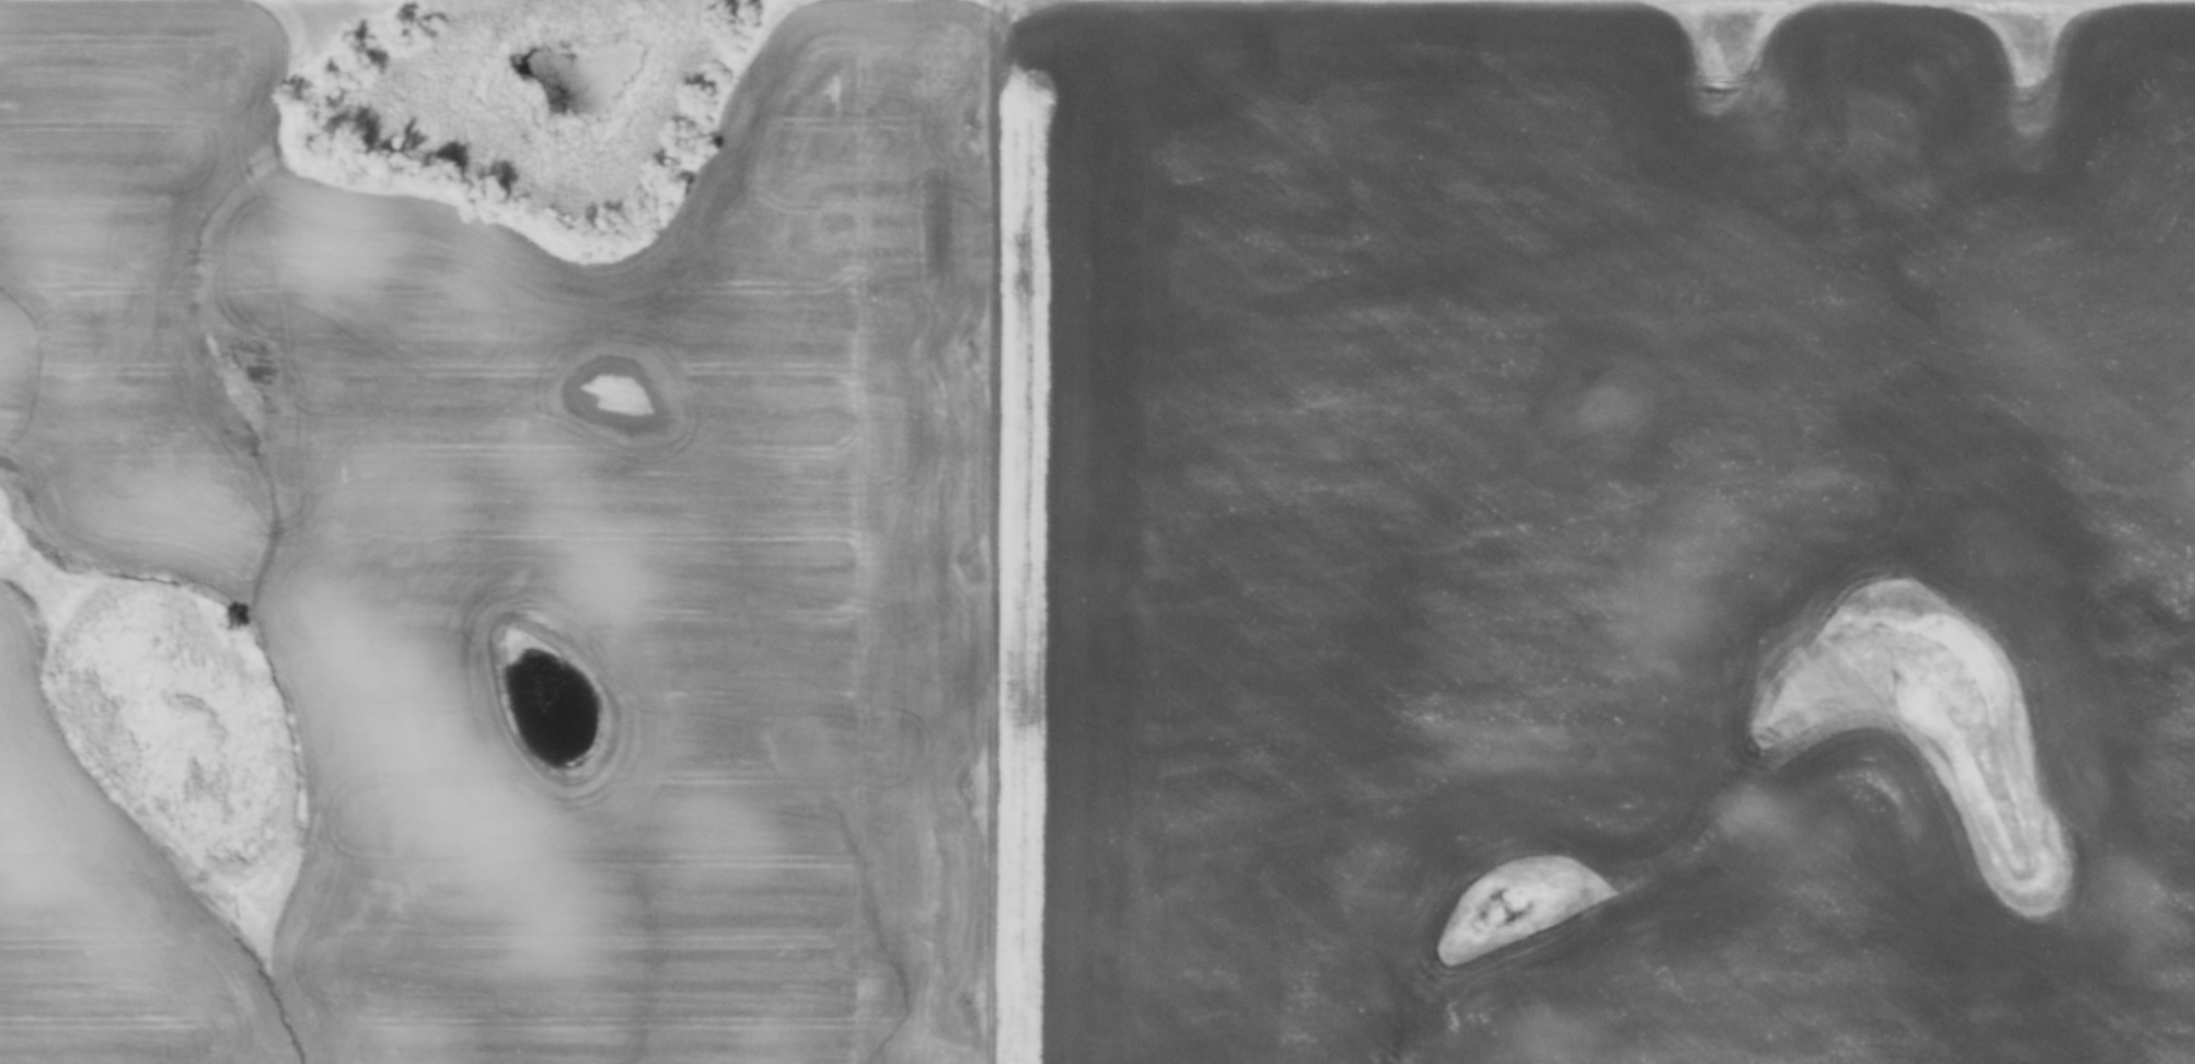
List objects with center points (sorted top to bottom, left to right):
road: (1007, 531)

